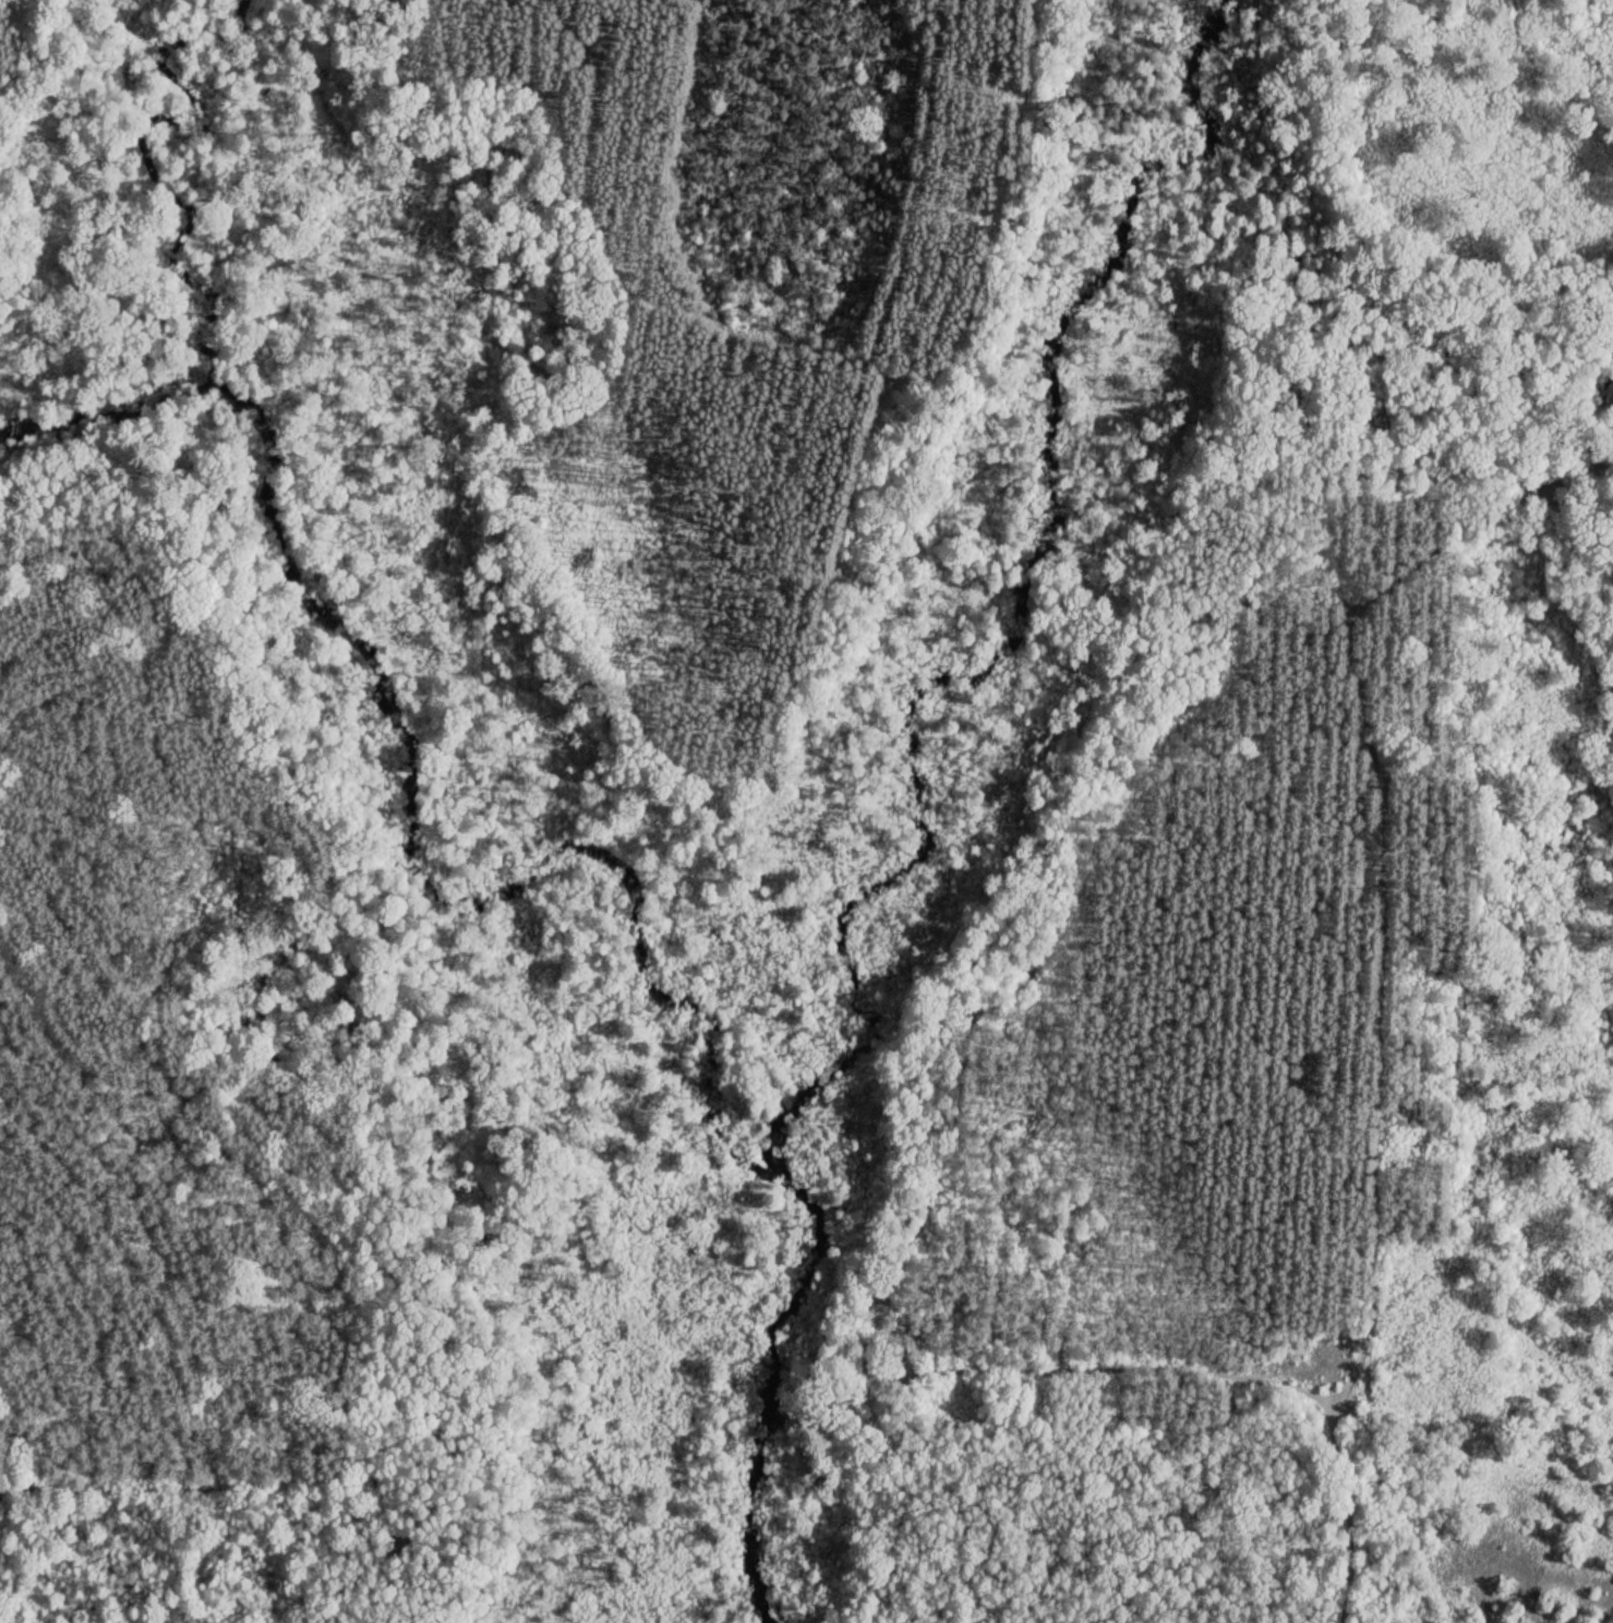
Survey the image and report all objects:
road: (1413, 618)
road: (1536, 1309)

